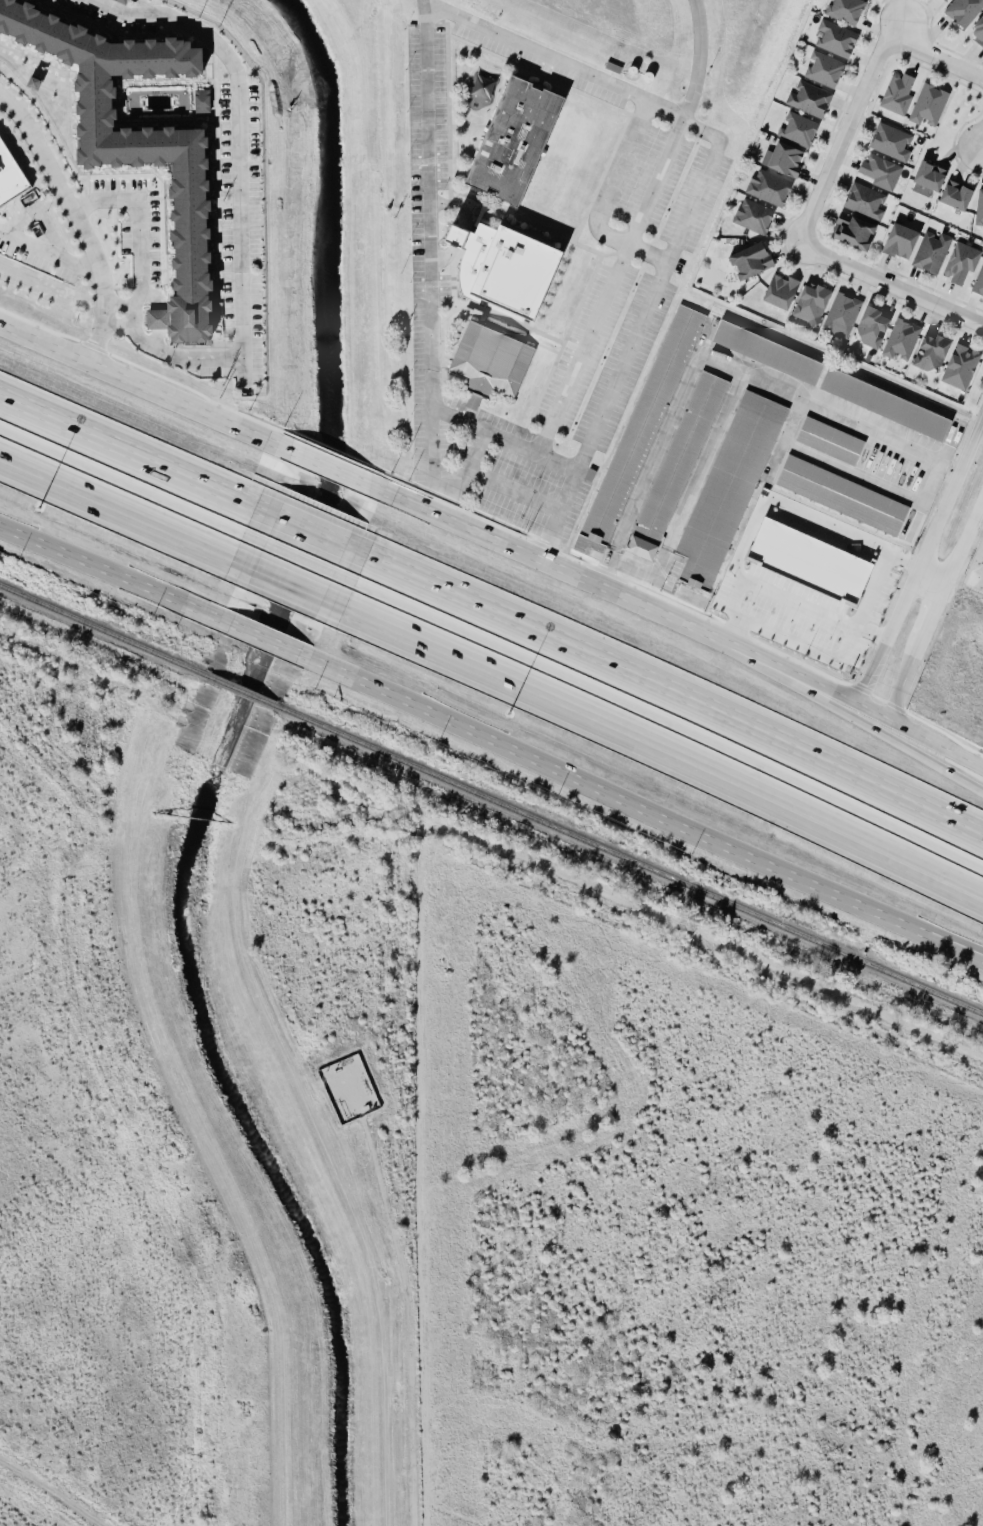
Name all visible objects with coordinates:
building: (947, 0)
building: (125, 1)
building: (849, 11)
building: (965, 11)
road: (901, 33)
building: (980, 33)
building: (838, 39)
road: (528, 48)
road: (942, 60)
building: (827, 70)
building: (901, 95)
building: (812, 100)
building: (206, 102)
building: (928, 105)
road: (655, 107)
building: (801, 131)
road: (842, 139)
building: (516, 141)
building: (144, 142)
building: (894, 143)
road: (239, 144)
road: (982, 148)
building: (790, 161)
building: (883, 173)
building: (9, 176)
road: (613, 180)
building: (945, 187)
building: (773, 189)
building: (868, 202)
building: (981, 211)
building: (757, 217)
road: (40, 220)
road: (78, 224)
building: (858, 233)
building: (900, 242)
road: (429, 253)
building: (934, 253)
road: (140, 254)
road: (47, 255)
building: (755, 261)
building: (964, 263)
building: (504, 268)
road: (609, 285)
building: (979, 285)
road: (889, 286)
building: (785, 293)
road: (648, 304)
building: (815, 305)
road: (118, 313)
building: (845, 316)
building: (161, 320)
building: (876, 328)
building: (904, 341)
building: (935, 353)
building: (767, 354)
road: (200, 359)
building: (489, 363)
road: (731, 367)
building: (964, 368)
road: (140, 389)
building: (885, 406)
building: (642, 427)
building: (829, 442)
road: (127, 451)
building: (679, 457)
road: (336, 474)
building: (729, 488)
road: (509, 490)
building: (841, 496)
road: (119, 500)
road: (556, 516)
road: (310, 533)
road: (963, 543)
building: (642, 549)
road: (923, 561)
building: (809, 562)
road: (885, 564)
road: (557, 572)
road: (110, 573)
road: (292, 576)
road: (781, 595)
road: (930, 621)
railway: (101, 631)
road: (261, 639)
road: (802, 647)
road: (902, 686)
railway: (240, 692)
road: (674, 696)
road: (856, 703)
road: (854, 719)
road: (664, 746)
road: (643, 805)
railway: (630, 862)
road: (50, 1497)
railway: (177, 1503)

